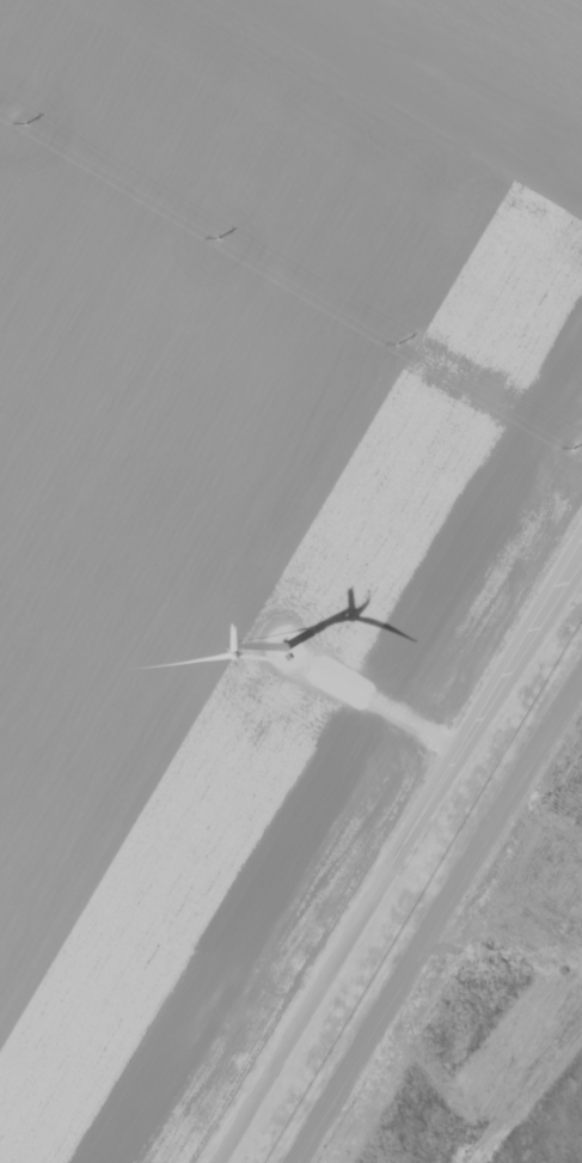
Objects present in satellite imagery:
wind turbine: (270, 647)
road: (376, 704)
road: (399, 851)

